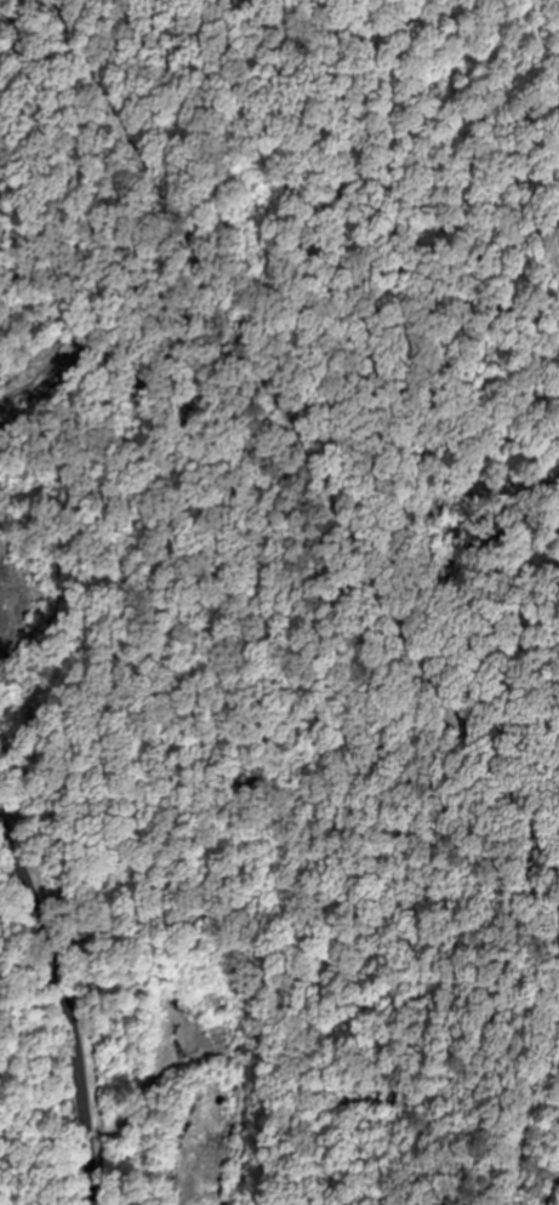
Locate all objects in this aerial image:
road: (61, 1030)
building: (211, 1159)

